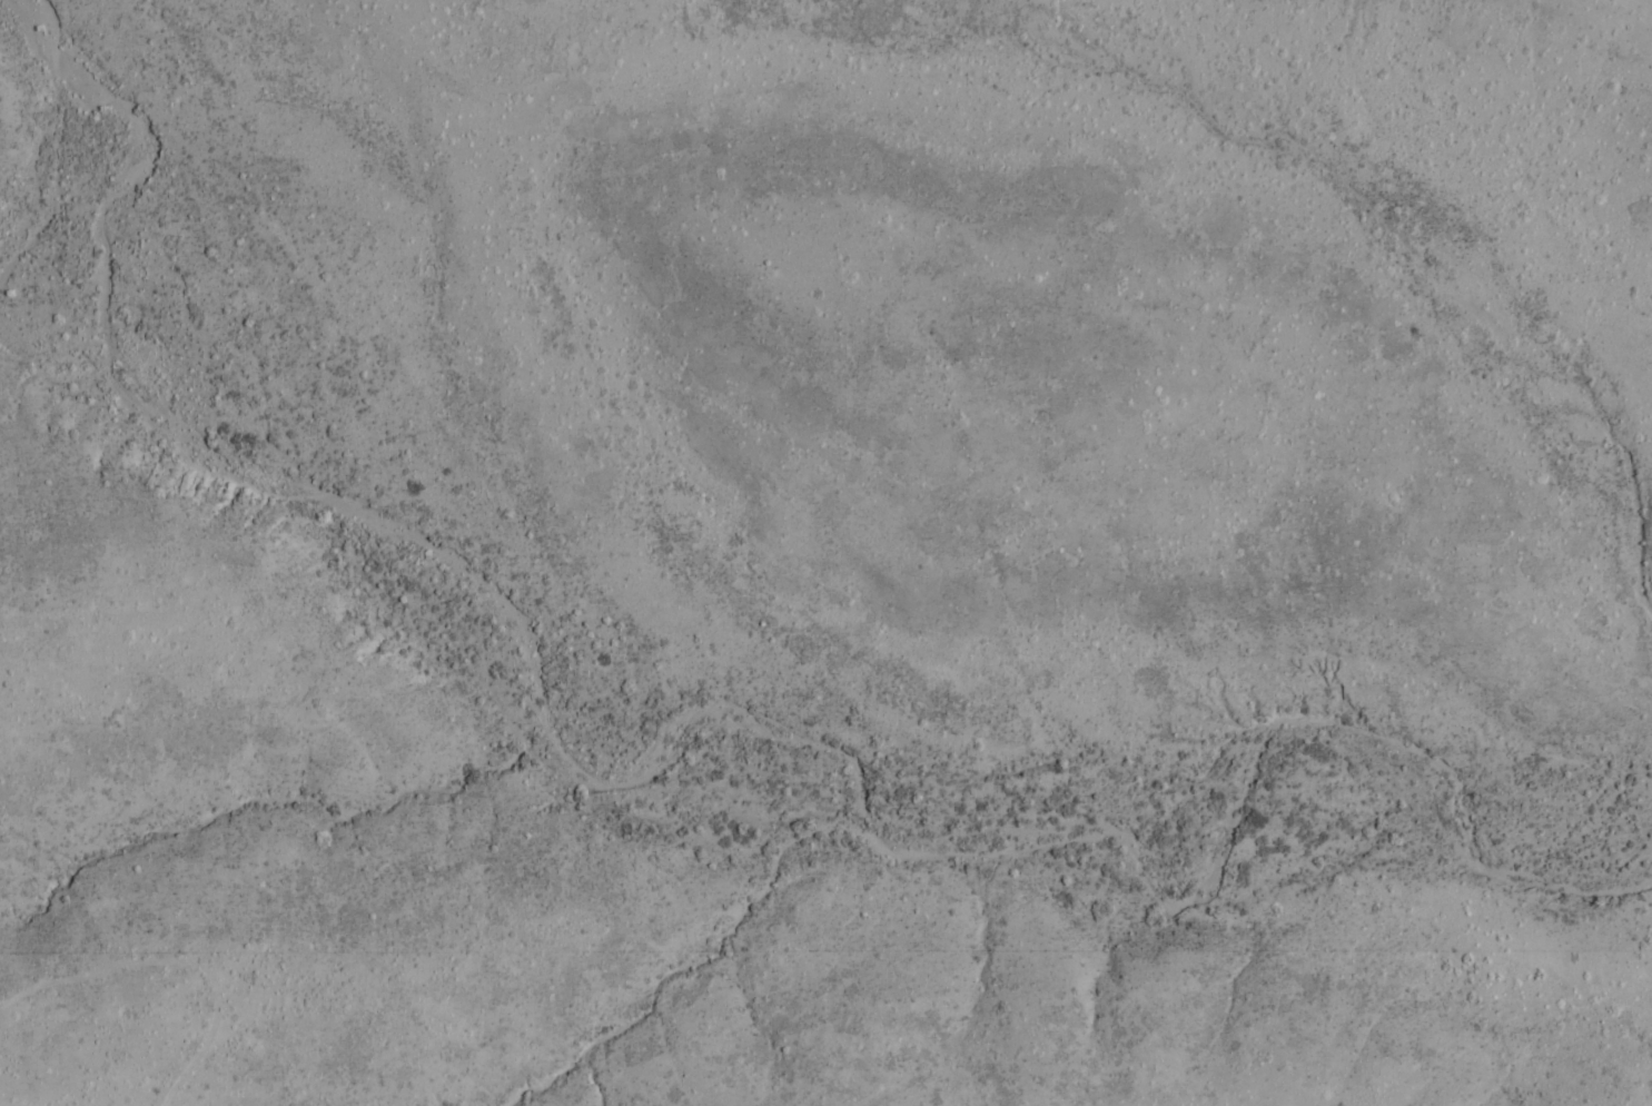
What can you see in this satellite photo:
road: (179, 955)

